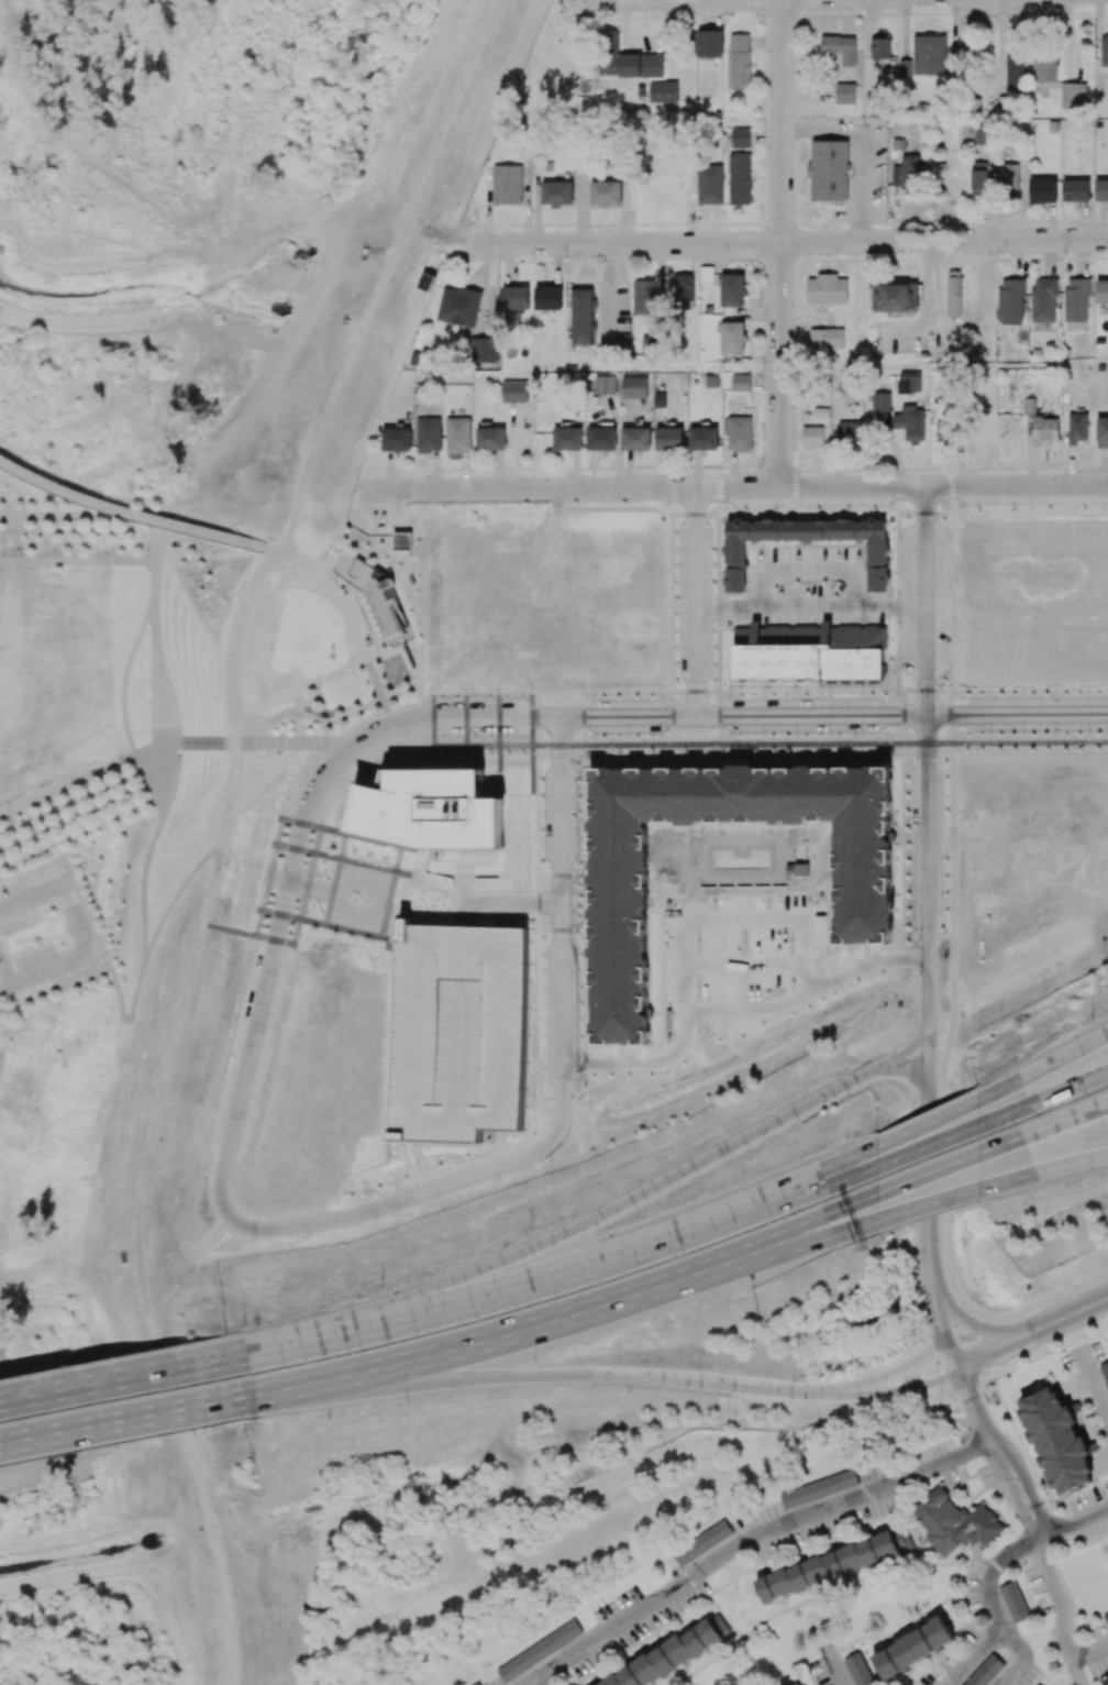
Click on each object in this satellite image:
road: (215, 9)
road: (226, 9)
building: (625, 59)
road: (291, 90)
building: (664, 91)
road: (215, 106)
road: (295, 131)
road: (234, 135)
road: (74, 147)
road: (863, 150)
building: (507, 185)
building: (557, 194)
building: (606, 194)
road: (191, 225)
road: (437, 236)
road: (788, 242)
road: (783, 243)
road: (226, 258)
road: (329, 272)
road: (387, 274)
road: (245, 276)
building: (645, 297)
building: (516, 298)
building: (549, 298)
road: (928, 298)
building: (458, 307)
building: (583, 317)
building: (651, 342)
building: (485, 350)
road: (921, 366)
building: (606, 385)
building: (634, 387)
building: (514, 392)
building: (429, 434)
building: (457, 436)
building: (396, 439)
building: (490, 439)
building: (567, 439)
building: (601, 439)
building: (635, 439)
building: (669, 439)
road: (1015, 484)
road: (644, 487)
road: (129, 511)
street lamp: (270, 539)
building: (401, 541)
road: (270, 549)
road: (77, 562)
street lamp: (335, 586)
building: (378, 596)
road: (690, 599)
road: (807, 605)
street lamp: (370, 634)
road: (255, 635)
road: (363, 656)
street lamp: (353, 674)
road: (296, 676)
street lamp: (320, 687)
road: (1021, 690)
road: (696, 691)
road: (810, 691)
road: (923, 691)
road: (949, 696)
street lamp: (465, 697)
street lamp: (433, 698)
road: (400, 708)
road: (766, 712)
road: (949, 715)
road: (922, 723)
road: (1023, 736)
street lamp: (433, 737)
street lamp: (466, 737)
park: (163, 739)
road: (281, 742)
road: (769, 744)
street lamp: (320, 757)
street lamp: (120, 772)
road: (89, 773)
street lamp: (71, 793)
building: (432, 811)
street lamp: (137, 814)
street lamp: (10, 819)
street lamp: (282, 819)
street lamp: (321, 828)
street lamp: (89, 835)
street lamp: (27, 862)
street lamp: (306, 872)
street lamp: (269, 878)
building: (862, 882)
street lamp: (87, 902)
parking lot: (14, 907)
road: (142, 917)
road: (738, 919)
road: (81, 935)
street lamp: (256, 935)
street lamp: (289, 938)
street lamp: (30, 945)
street lamp: (107, 949)
parking lot: (48, 974)
road: (728, 1012)
building: (458, 1032)
parking garage: (458, 1032)
road: (944, 1098)
road: (156, 1114)
road: (993, 1115)
road: (720, 1166)
road: (321, 1222)
street lamp: (532, 1227)
road: (592, 1264)
road: (1021, 1265)
street lamp: (381, 1286)
street lamp: (755, 1315)
street lamp: (244, 1322)
road: (513, 1333)
road: (1031, 1333)
street lamp: (187, 1340)
road: (274, 1347)
road: (616, 1364)
road: (124, 1377)
road: (1095, 1385)
road: (274, 1390)
street lamp: (942, 1397)
street lamp: (407, 1403)
road: (129, 1419)
street lamp: (255, 1423)
road: (983, 1425)
street lamp: (207, 1430)
road: (949, 1463)
building: (957, 1523)
road: (1075, 1523)
building: (701, 1543)
road: (710, 1563)
road: (1045, 1570)
road: (995, 1571)
park: (1087, 1581)
building: (539, 1651)
road: (976, 1653)
building: (672, 1654)
road: (1090, 1655)
road: (1023, 1656)
road: (834, 1665)
road: (1077, 1674)
road: (533, 1684)
road: (535, 1684)

